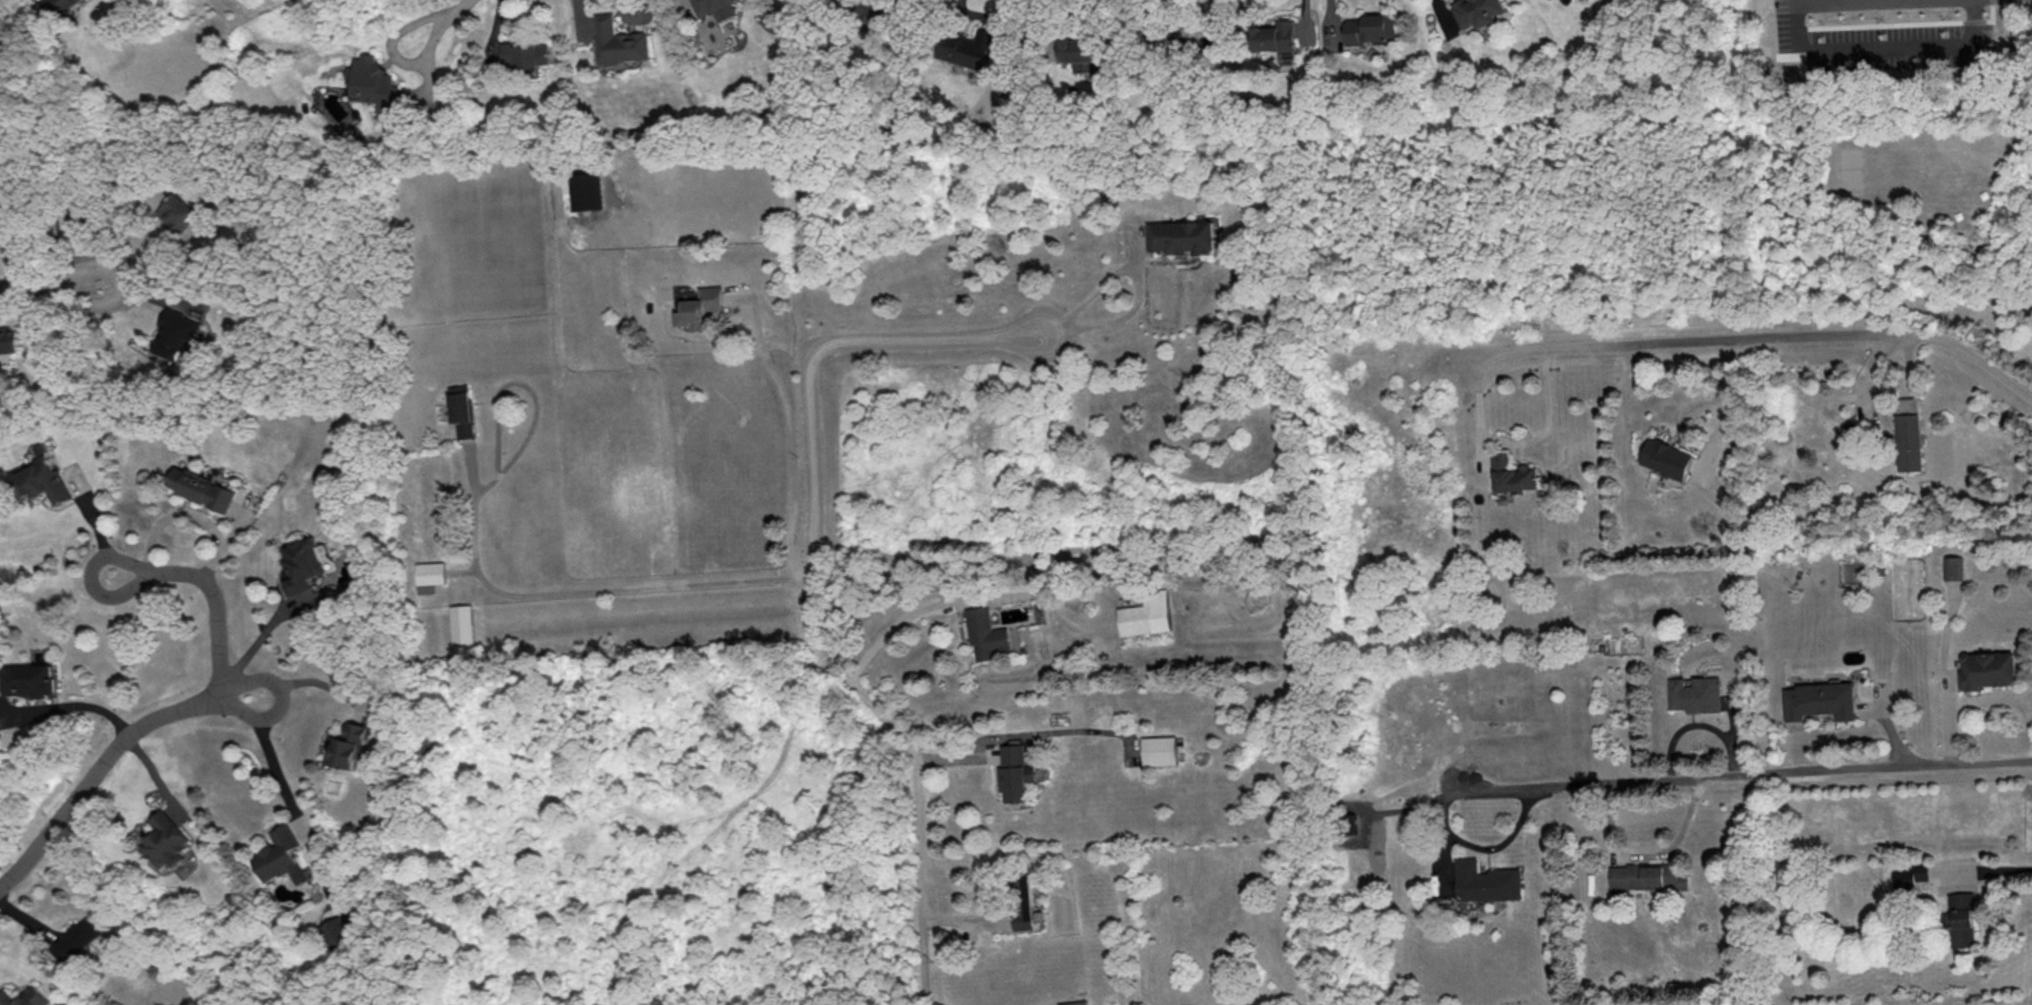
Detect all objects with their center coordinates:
road: (1822, 1)
building: (58, 6)
building: (715, 8)
building: (1478, 11)
road: (436, 22)
building: (1371, 28)
road: (1048, 29)
building: (1275, 36)
building: (620, 41)
building: (967, 46)
building: (527, 53)
building: (1082, 54)
building: (372, 82)
building: (588, 190)
building: (175, 212)
building: (1183, 235)
road: (1144, 280)
road: (65, 285)
building: (700, 306)
building: (176, 334)
road: (1759, 338)
building: (9, 339)
road: (1723, 408)
building: (461, 409)
building: (1909, 440)
road: (791, 443)
road: (1514, 443)
building: (1666, 457)
building: (1512, 474)
building: (42, 480)
building: (199, 488)
road: (98, 520)
building: (300, 563)
building: (1955, 566)
building: (429, 575)
road: (810, 576)
road: (481, 578)
building: (1147, 614)
road: (903, 619)
building: (461, 622)
building: (1987, 668)
building: (28, 679)
road: (293, 681)
building: (1696, 693)
building: (1820, 699)
road: (70, 704)
road: (172, 712)
building: (349, 745)
road: (265, 747)
building: (1160, 749)
building: (1015, 772)
road: (1739, 774)
building: (164, 840)
road: (1487, 847)
building: (281, 855)
road: (1999, 869)
building: (1910, 874)
building: (1649, 875)
building: (1487, 880)
building: (1023, 899)
building: (1963, 918)
building: (334, 933)
building: (70, 938)
building: (23, 997)
building: (1076, 1002)

